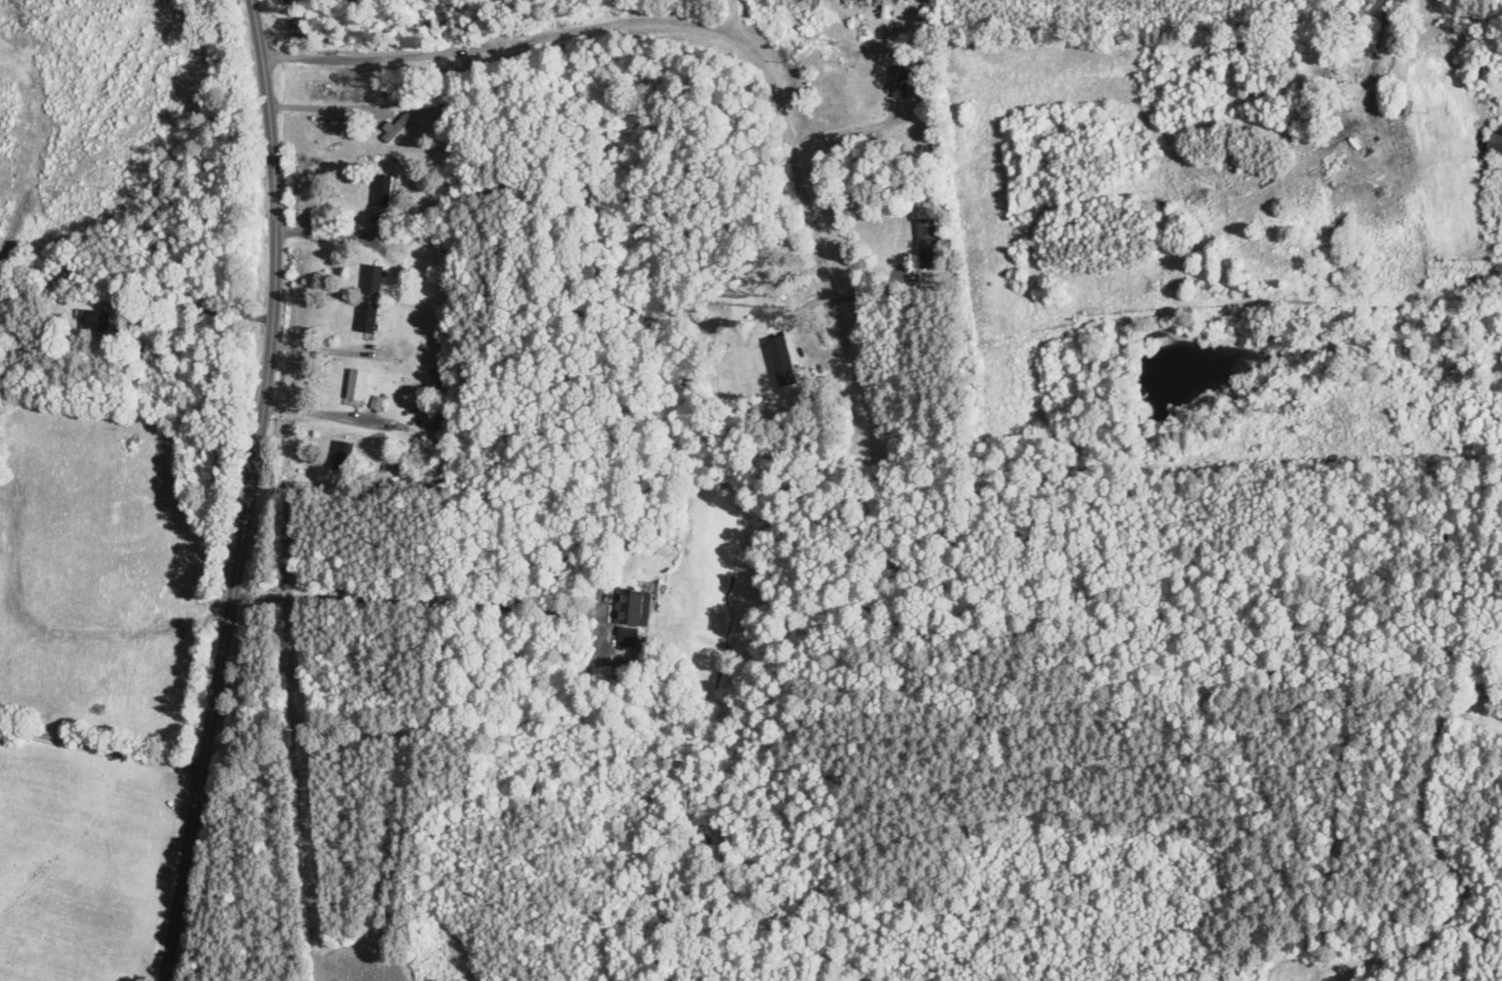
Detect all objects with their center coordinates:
road: (730, 17)
road: (637, 26)
building: (1338, 70)
building: (1482, 72)
building: (899, 82)
road: (326, 108)
building: (400, 126)
road: (839, 133)
building: (1495, 140)
building: (382, 191)
road: (335, 236)
building: (928, 243)
building: (373, 280)
building: (368, 318)
building: (95, 320)
road: (320, 349)
building: (357, 384)
building: (342, 456)
road: (252, 492)
road: (377, 601)
building: (631, 607)
road: (101, 747)

